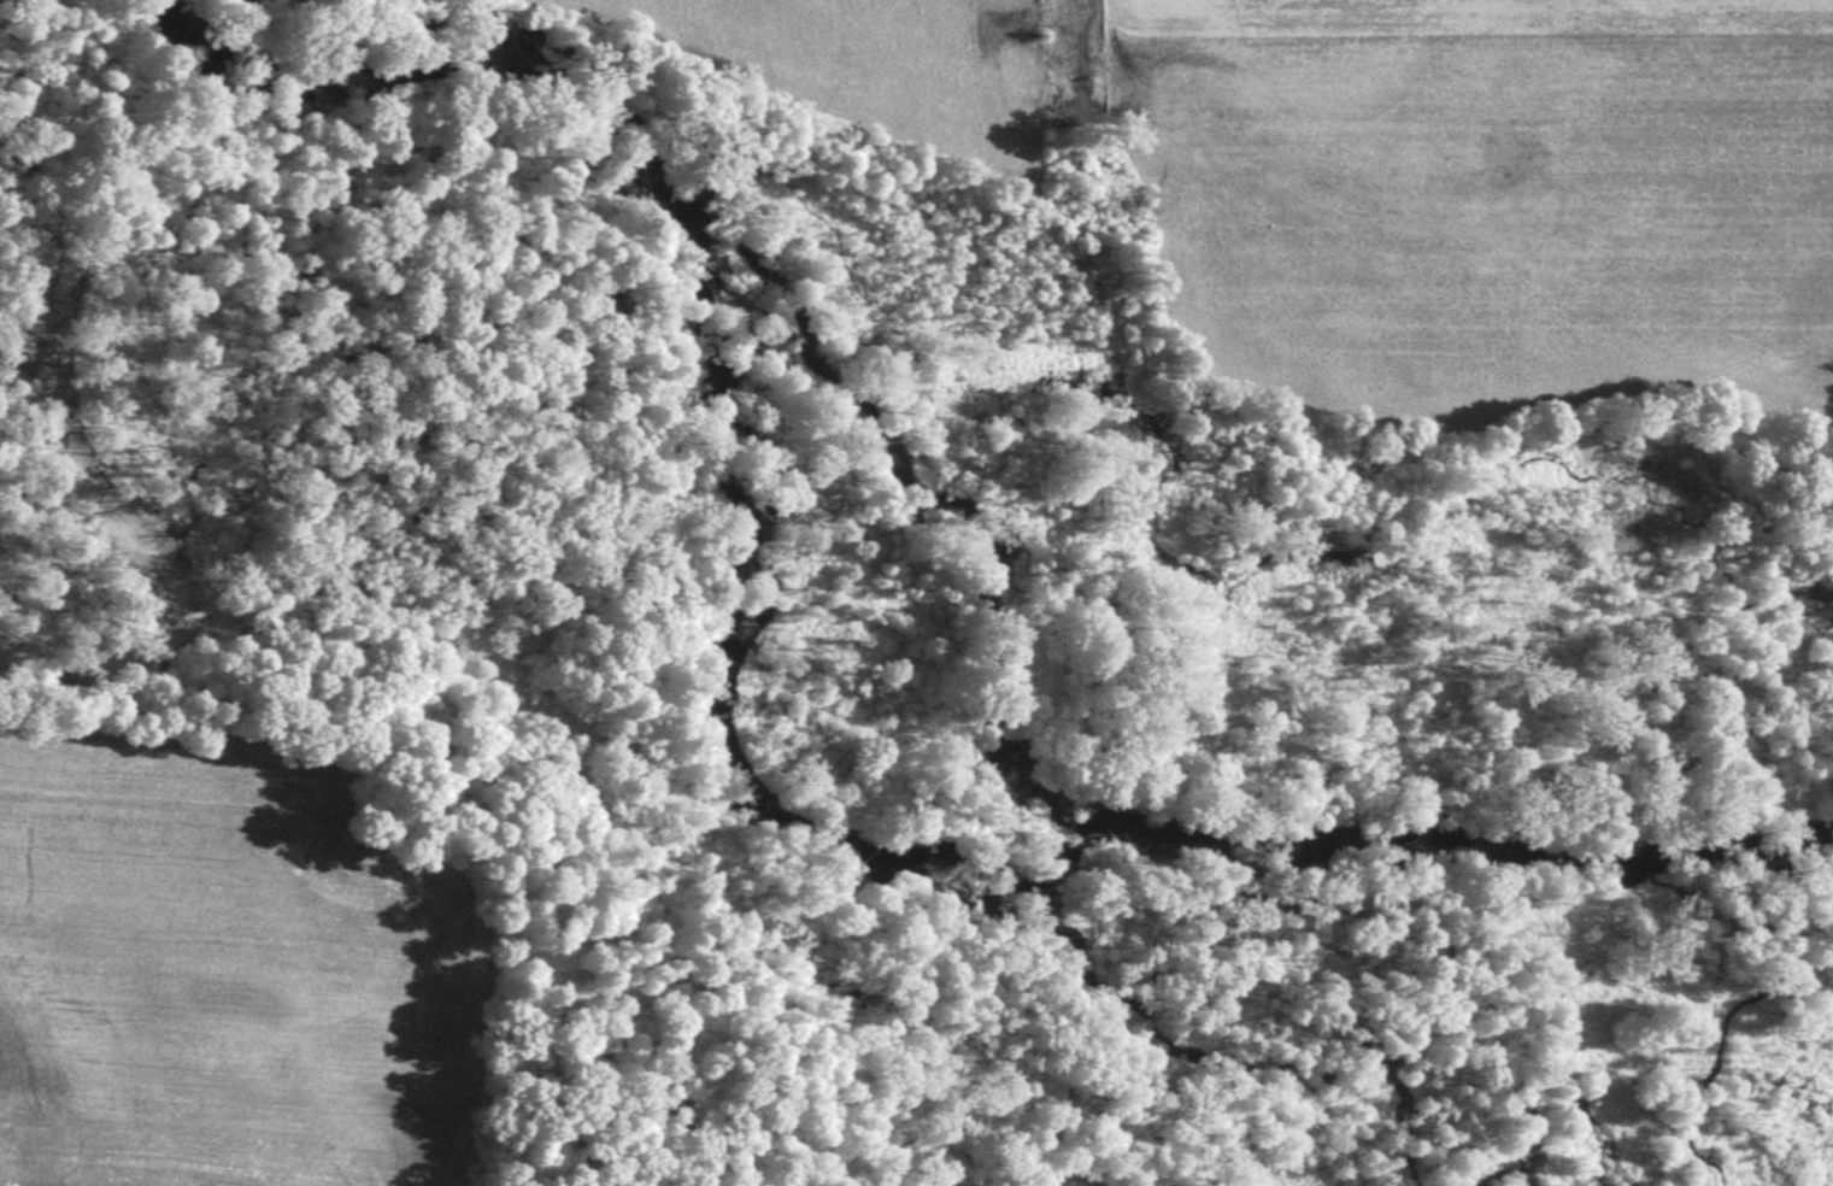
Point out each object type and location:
river: (965, 551)

